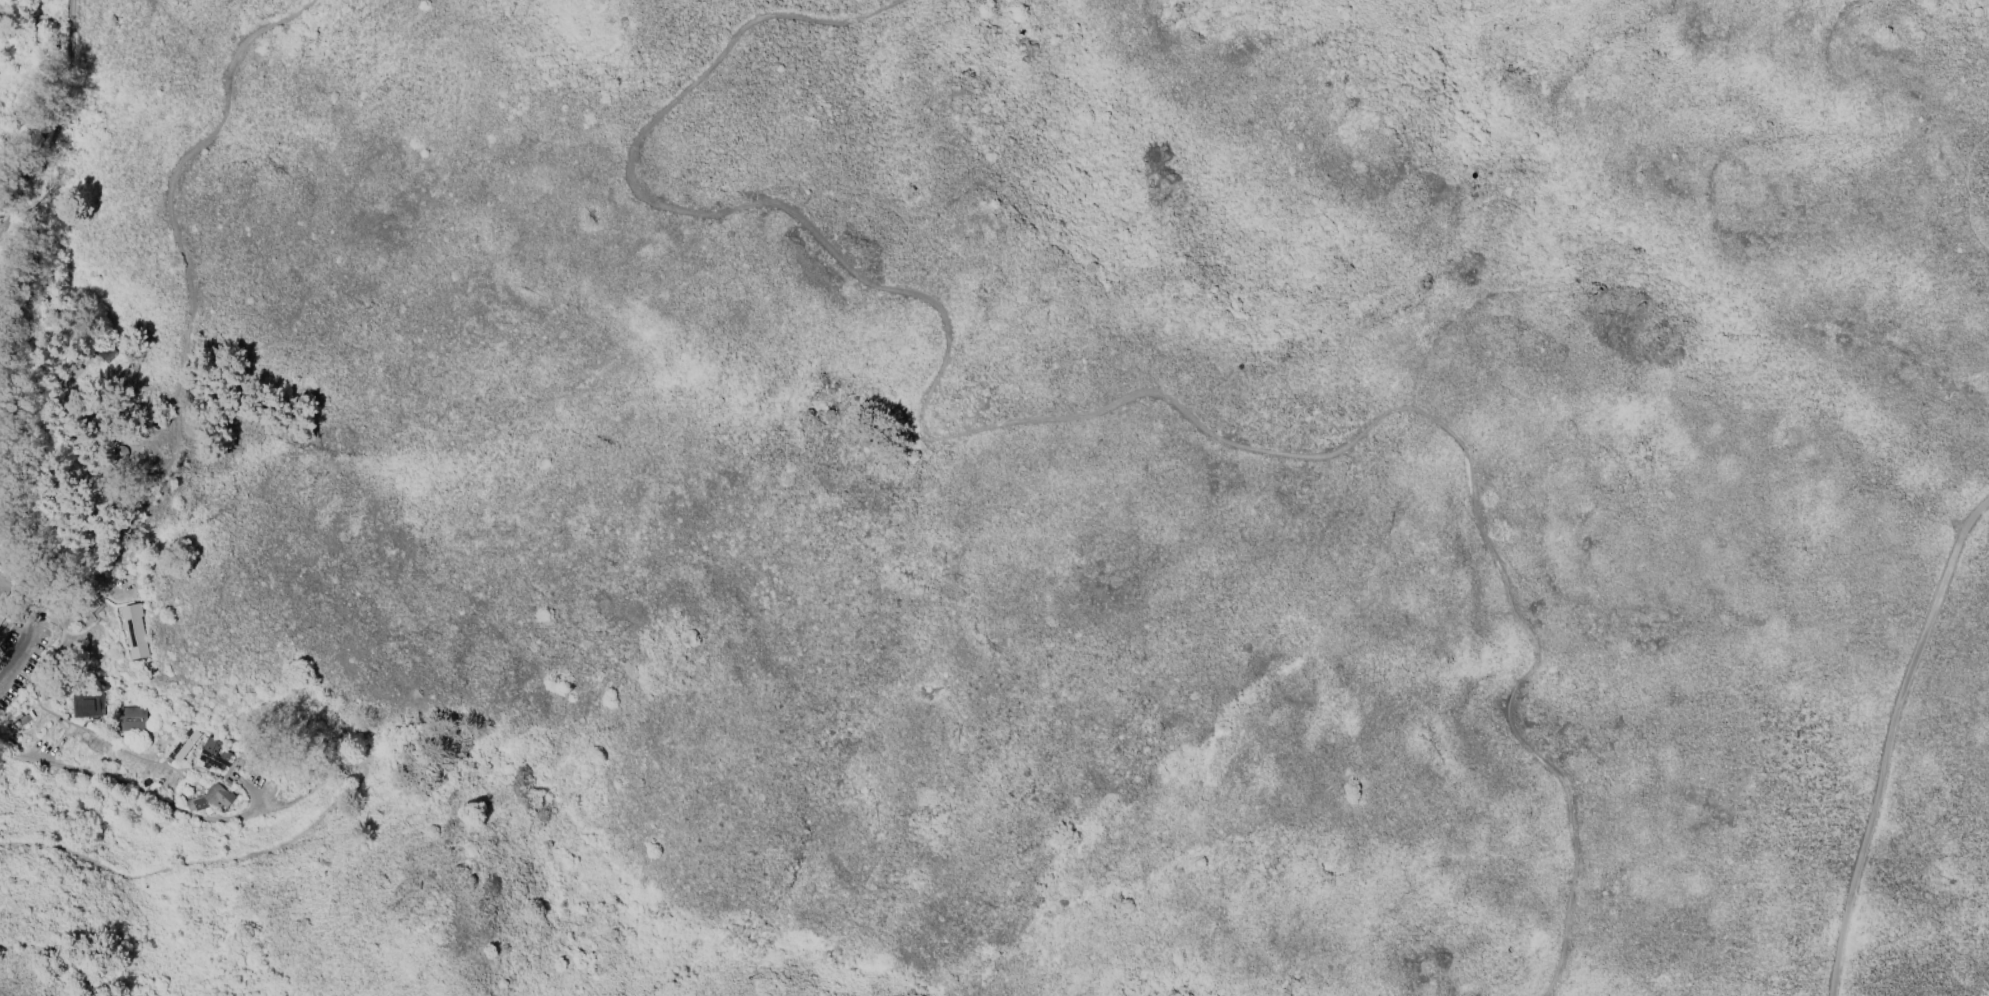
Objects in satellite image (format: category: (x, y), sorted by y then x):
road: (72, 25)
road: (45, 151)
road: (1966, 194)
road: (173, 231)
road: (54, 345)
road: (1080, 415)
building: (874, 429)
building: (2, 614)
building: (134, 632)
building: (87, 706)
building: (132, 718)
road: (1890, 741)
building: (186, 745)
road: (366, 781)

